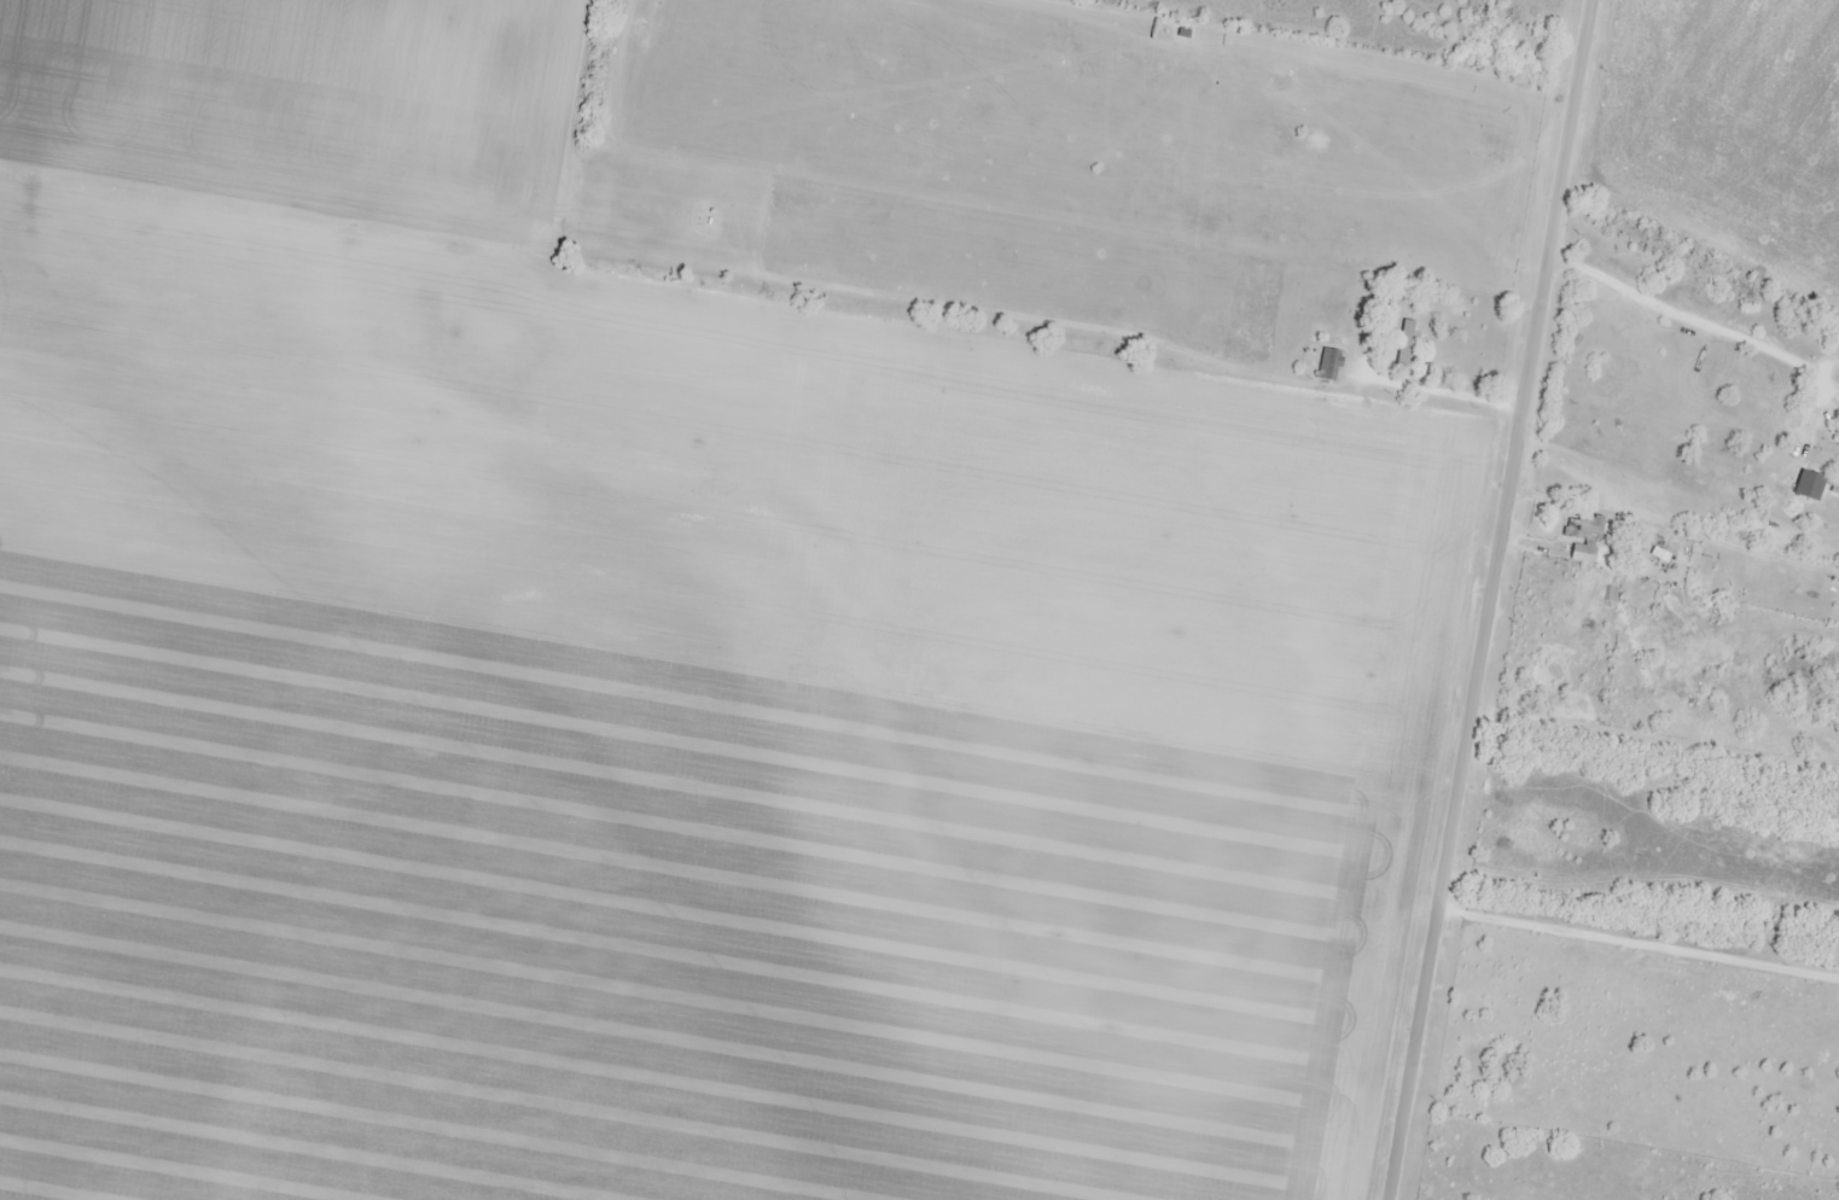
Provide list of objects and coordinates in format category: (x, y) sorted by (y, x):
road: (1692, 318)
road: (1490, 599)

